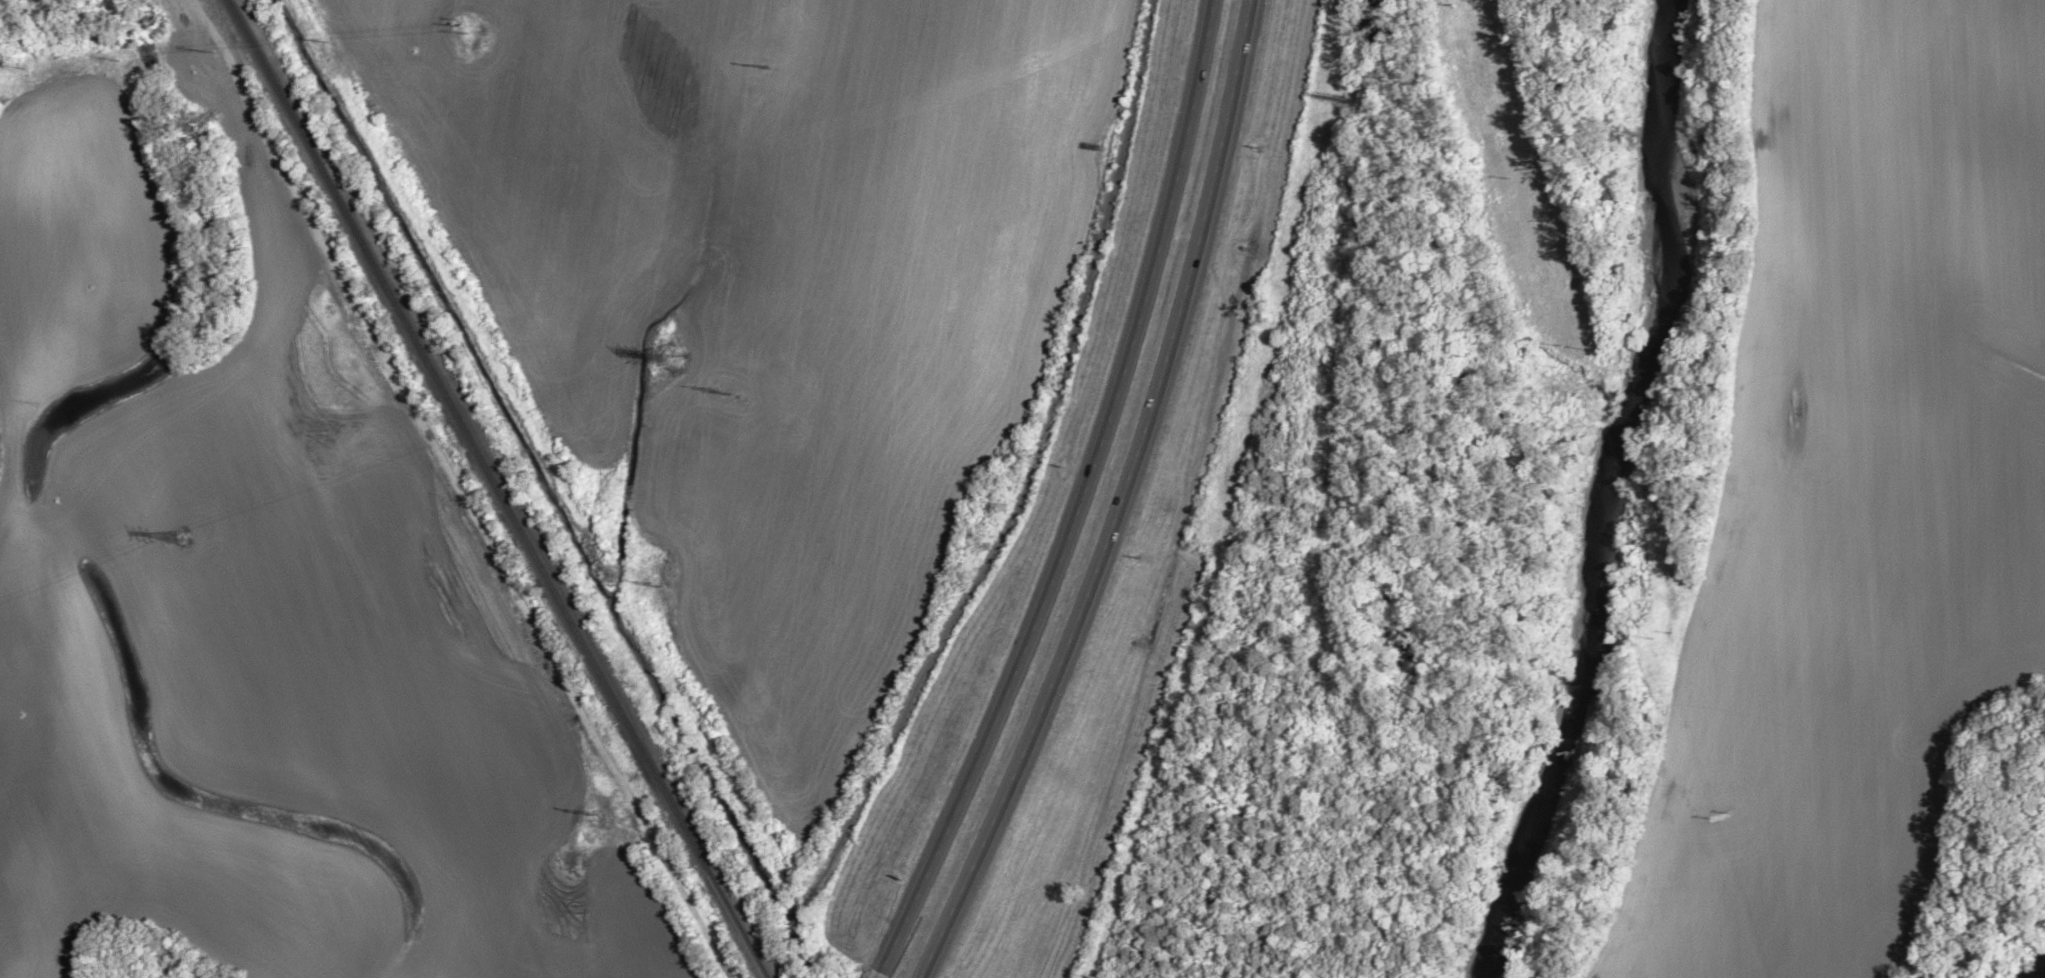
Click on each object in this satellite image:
power tower: (766, 66)
power tower: (677, 357)
power tower: (717, 394)
railway: (501, 489)
river: (1593, 490)
road: (1124, 499)
road: (1084, 500)
aquafarm: (1, 509)
power tower: (186, 537)
river: (2032, 966)

